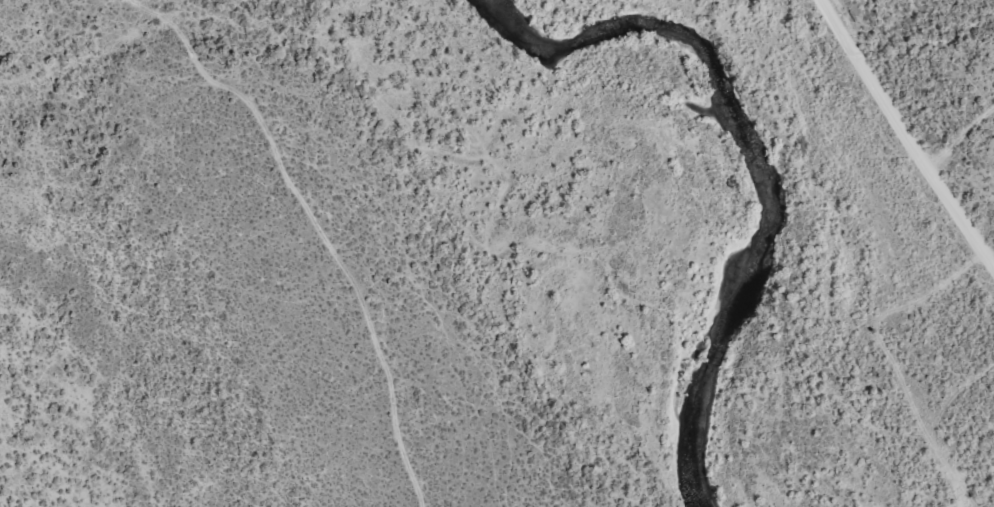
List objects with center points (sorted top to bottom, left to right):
river: (750, 152)
road: (909, 158)

